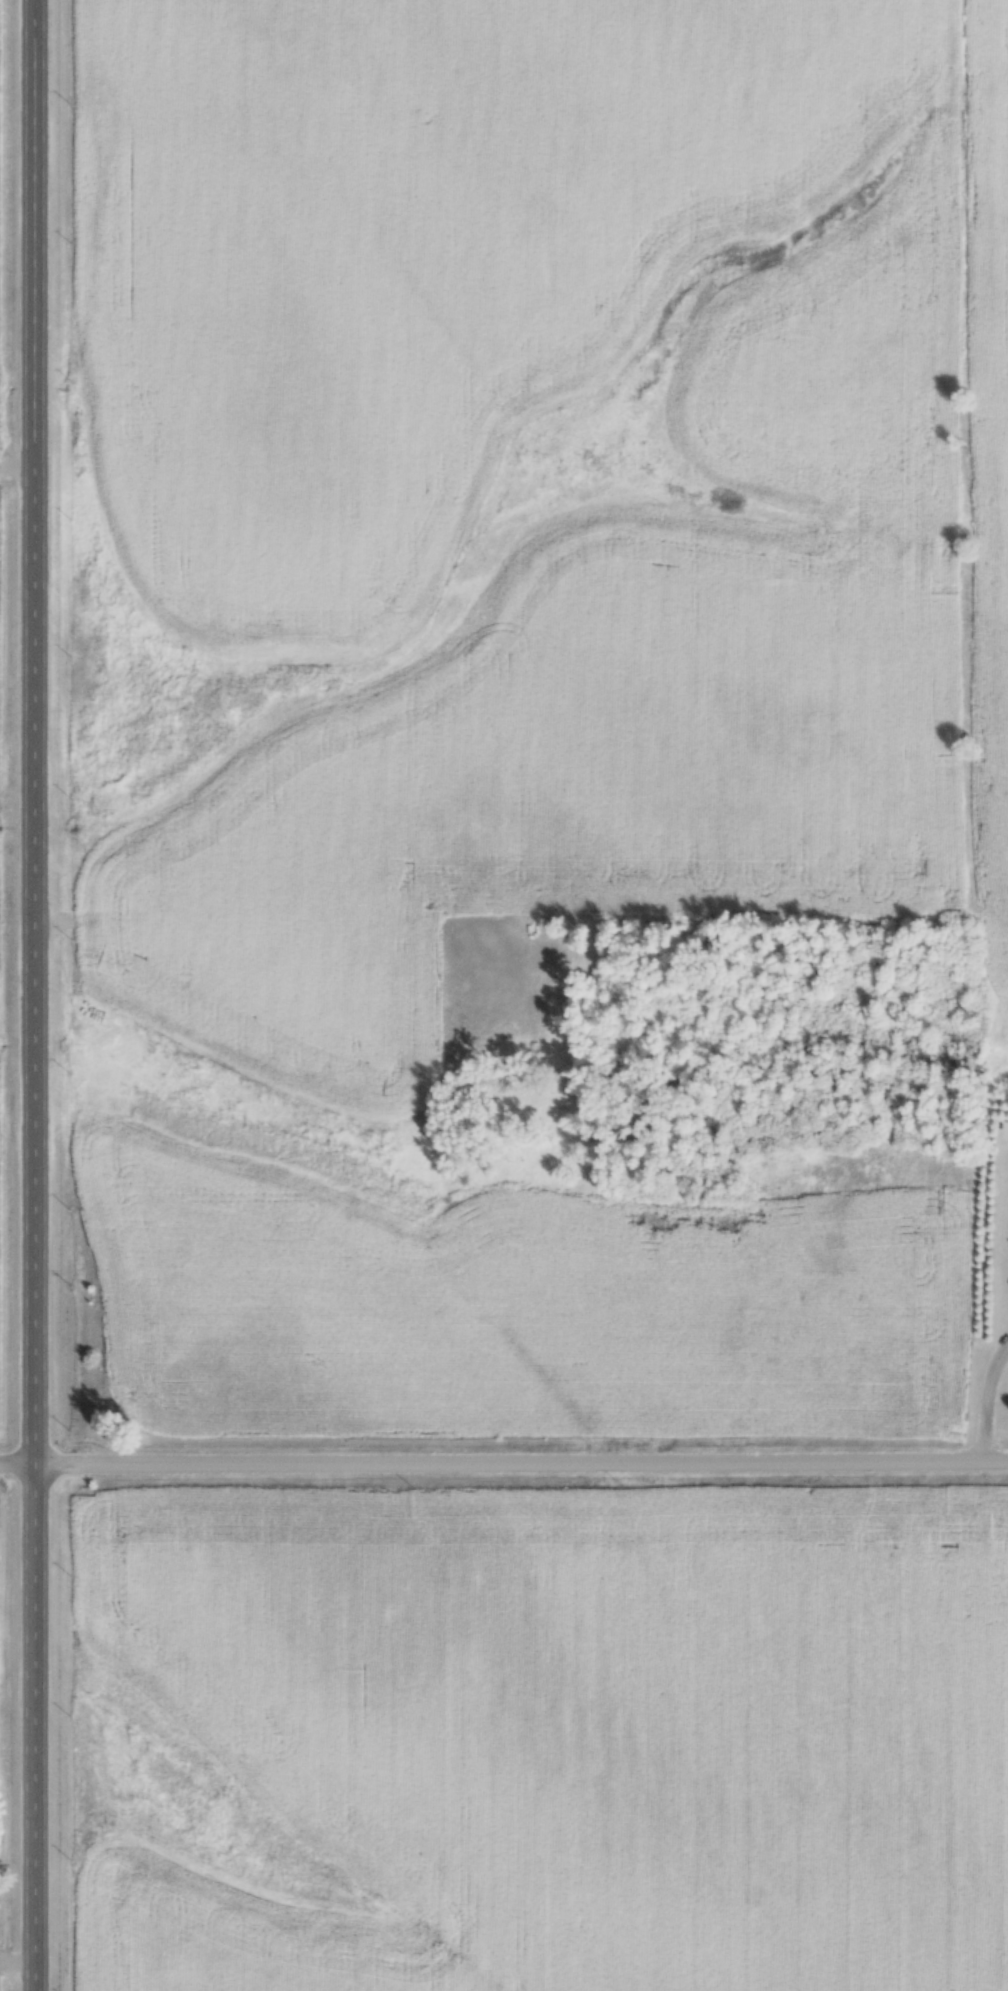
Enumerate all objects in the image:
road: (42, 995)
building: (767, 1361)
road: (980, 1390)
road: (504, 1462)

